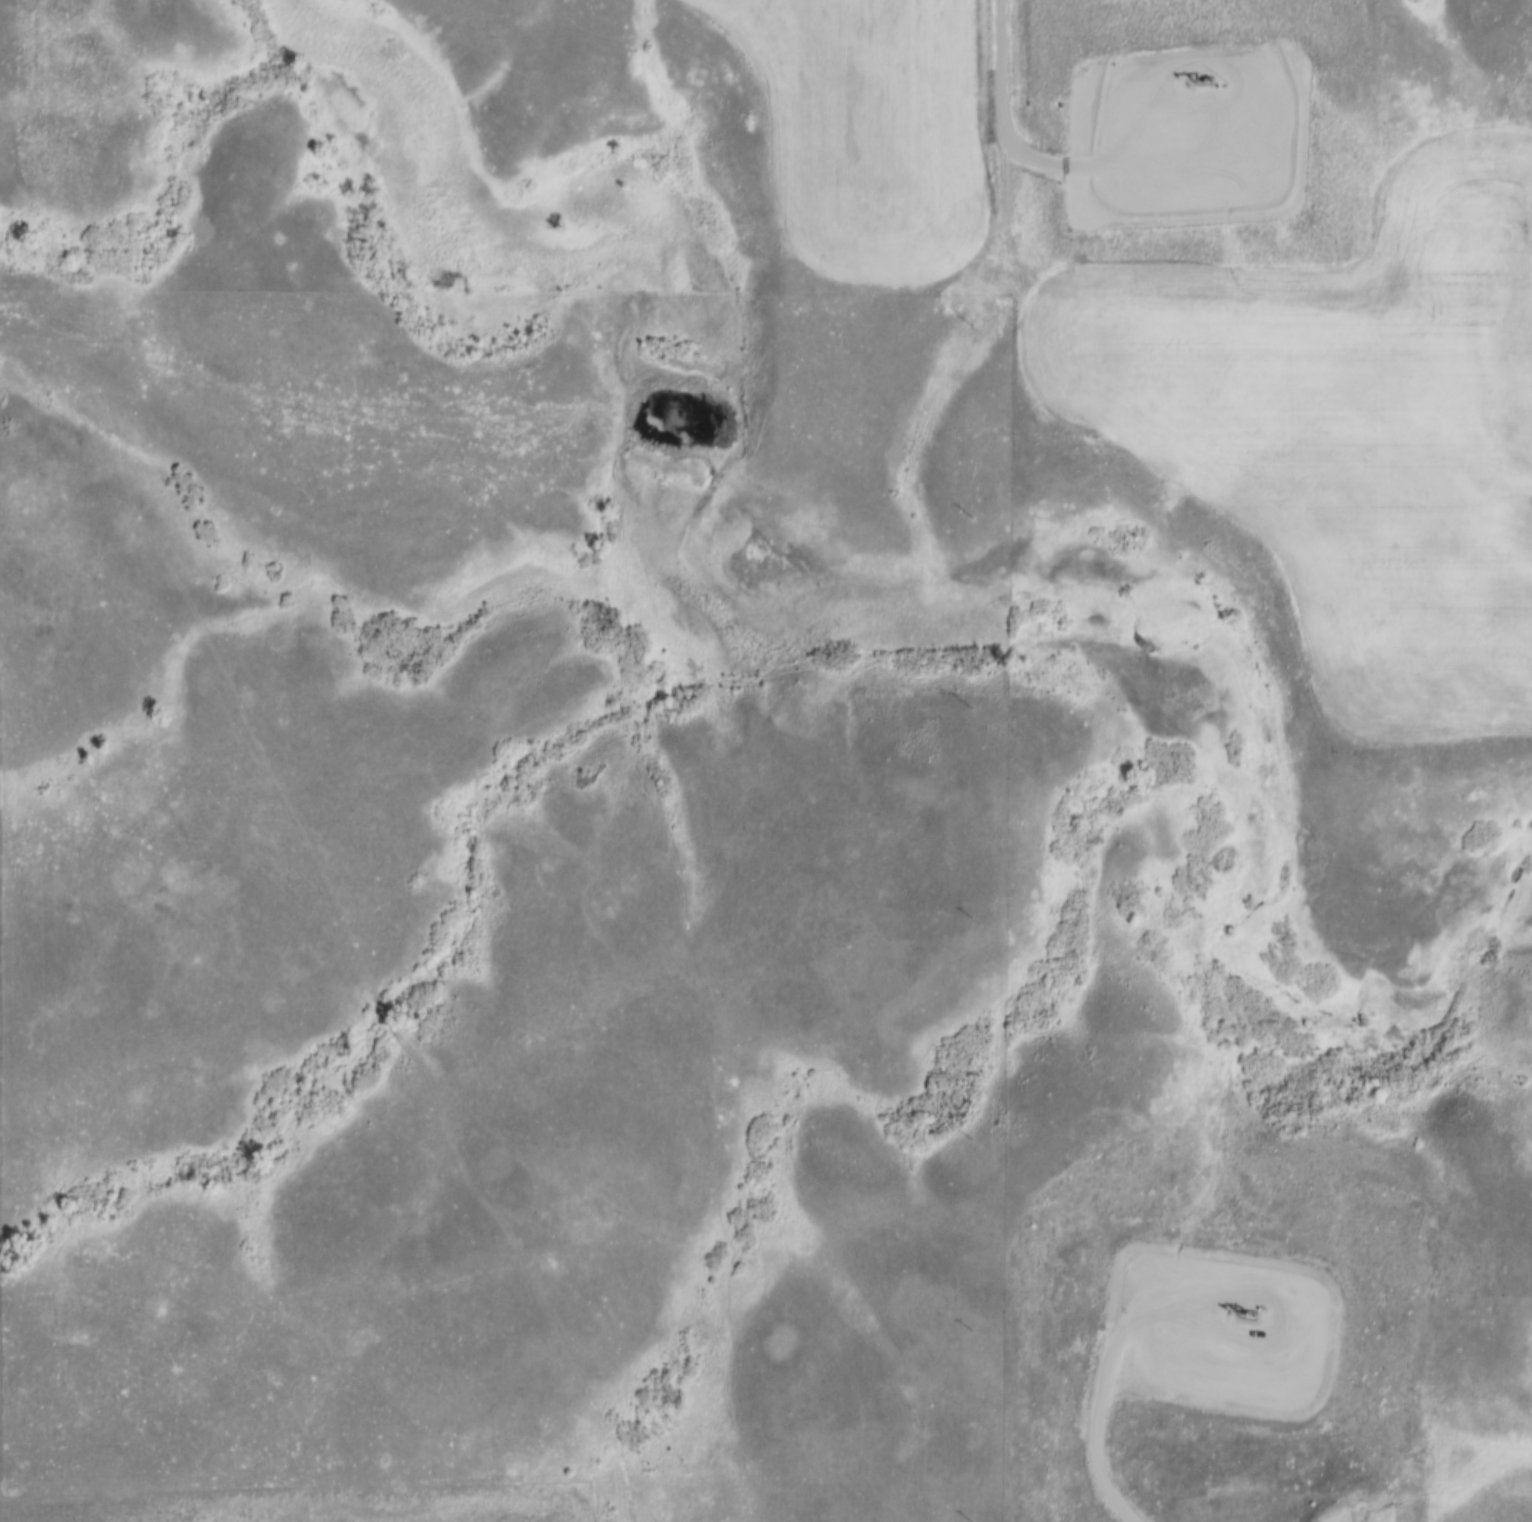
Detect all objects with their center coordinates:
petroleum well: (1239, 1306)
road: (1089, 1424)

